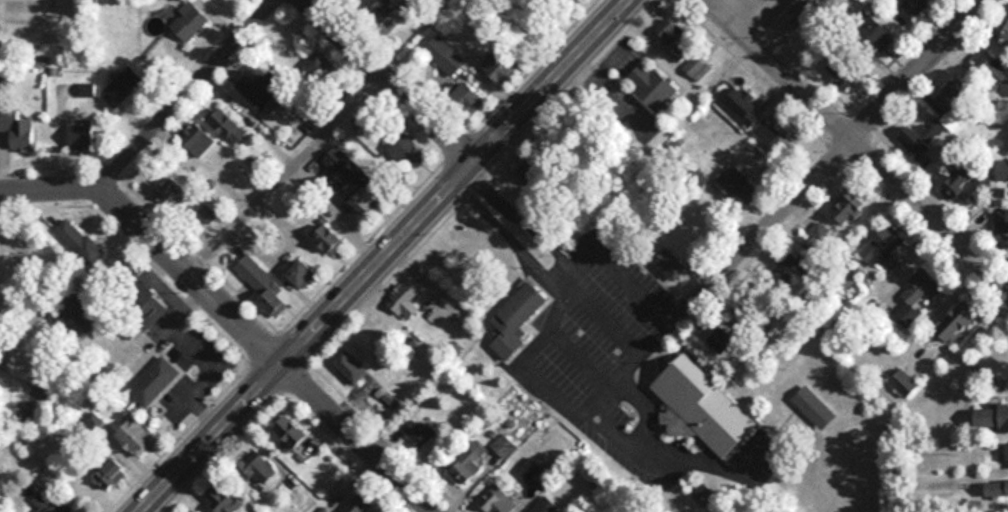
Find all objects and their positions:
building: (350, 0)
building: (833, 1)
building: (814, 2)
building: (416, 6)
building: (916, 6)
building: (382, 13)
building: (188, 21)
building: (1007, 36)
building: (673, 37)
building: (880, 37)
building: (445, 55)
building: (318, 65)
building: (695, 66)
building: (500, 67)
building: (993, 70)
building: (843, 72)
road: (388, 83)
building: (121, 86)
building: (653, 86)
building: (261, 88)
road: (190, 96)
building: (953, 96)
building: (468, 98)
building: (744, 106)
building: (362, 116)
building: (228, 126)
building: (17, 129)
building: (81, 134)
building: (194, 136)
building: (774, 136)
building: (915, 140)
road: (856, 148)
building: (405, 150)
road: (843, 153)
building: (1003, 170)
building: (531, 174)
building: (356, 180)
building: (956, 184)
building: (739, 185)
building: (168, 191)
building: (849, 207)
building: (207, 214)
building: (1002, 221)
building: (329, 240)
building: (78, 242)
road: (156, 243)
building: (882, 248)
road: (390, 256)
building: (672, 265)
building: (301, 272)
building: (263, 285)
building: (918, 294)
road: (31, 295)
building: (403, 295)
building: (75, 314)
building: (517, 320)
building: (958, 321)
building: (727, 337)
building: (349, 367)
building: (154, 380)
building: (905, 383)
building: (815, 407)
building: (702, 408)
building: (992, 419)
building: (291, 431)
building: (136, 437)
building: (425, 437)
road: (357, 440)
road: (978, 453)
building: (1007, 455)
building: (468, 463)
building: (260, 468)
building: (111, 474)
building: (996, 489)
building: (222, 498)
building: (498, 502)
building: (48, 504)
building: (357, 504)
building: (544, 505)
building: (194, 511)

